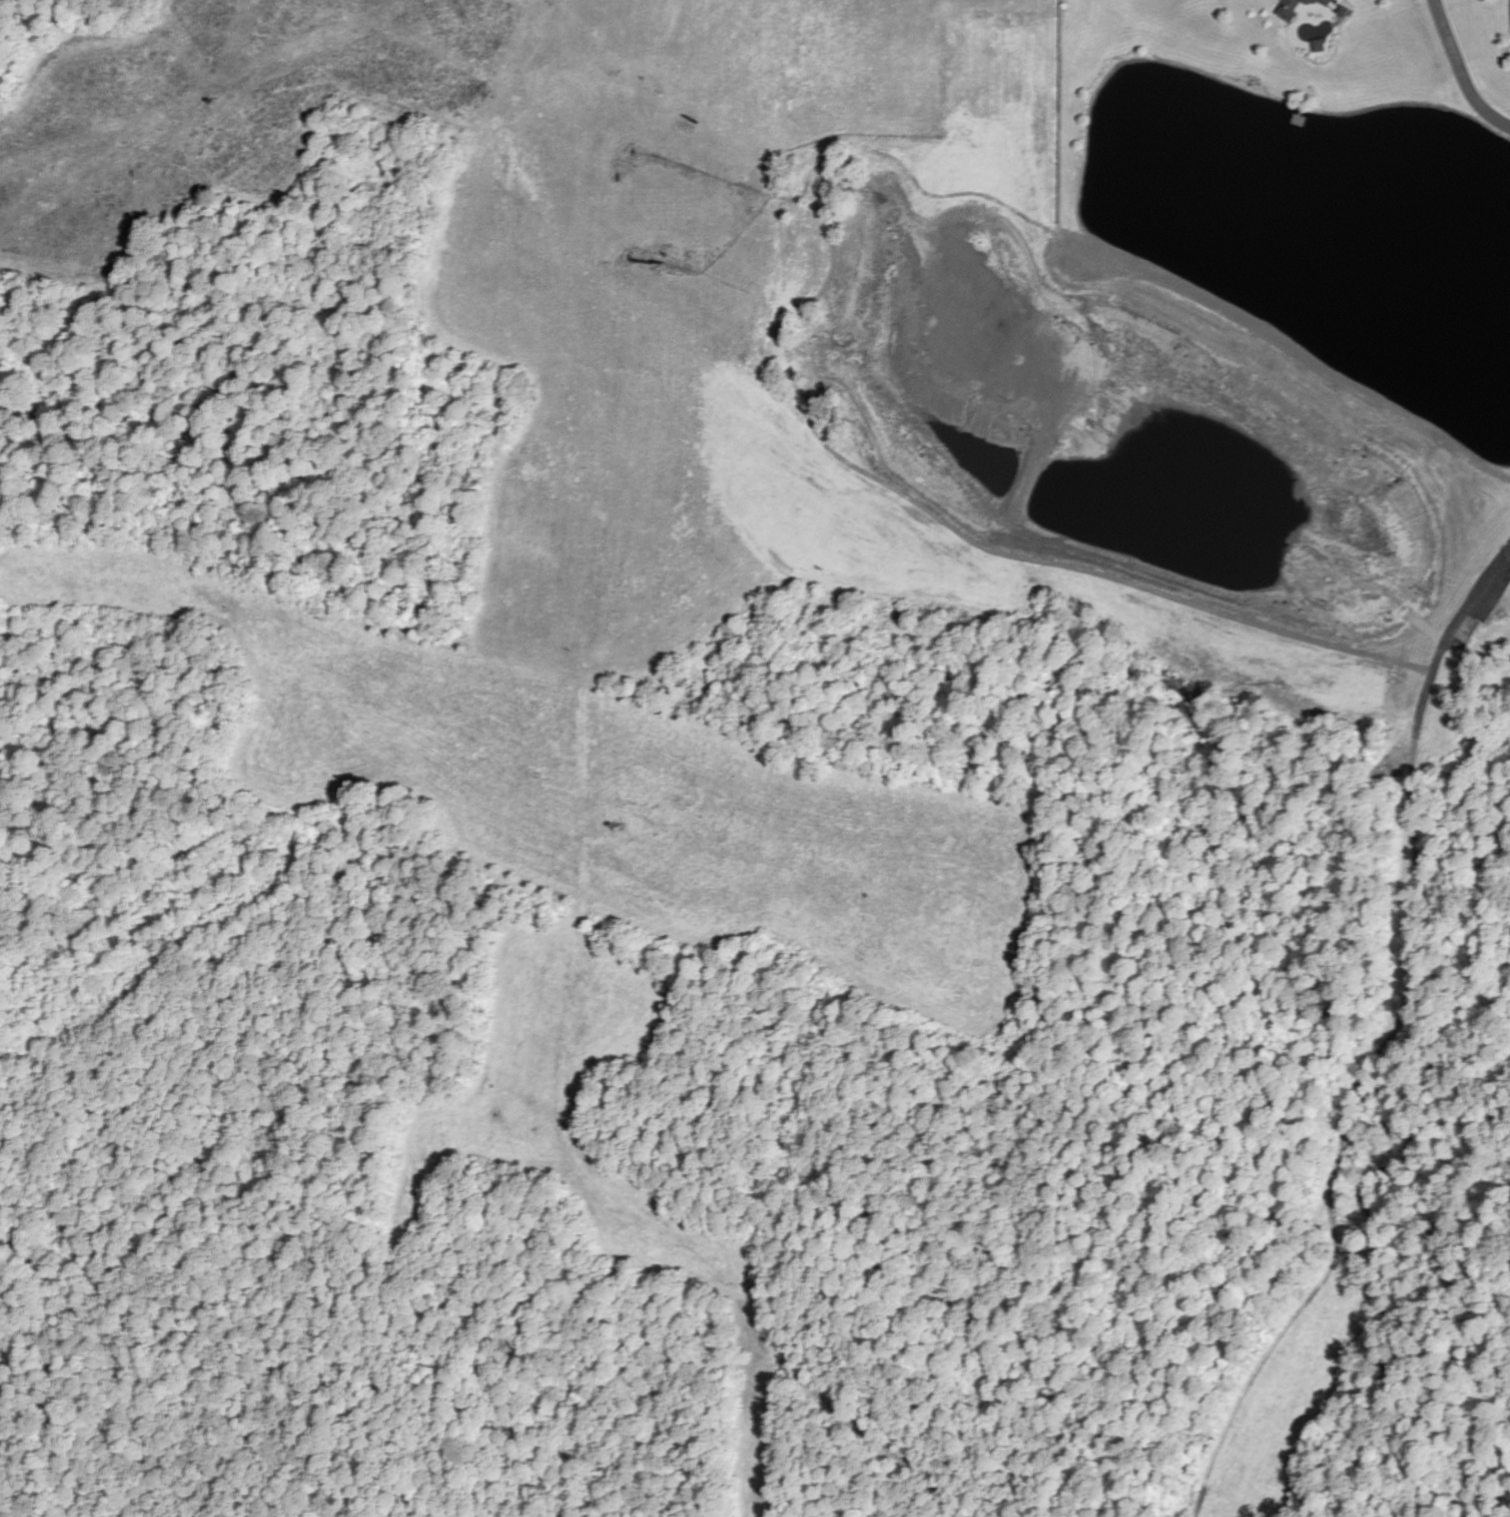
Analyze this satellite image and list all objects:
building: (1288, 13)
building: (1319, 46)

